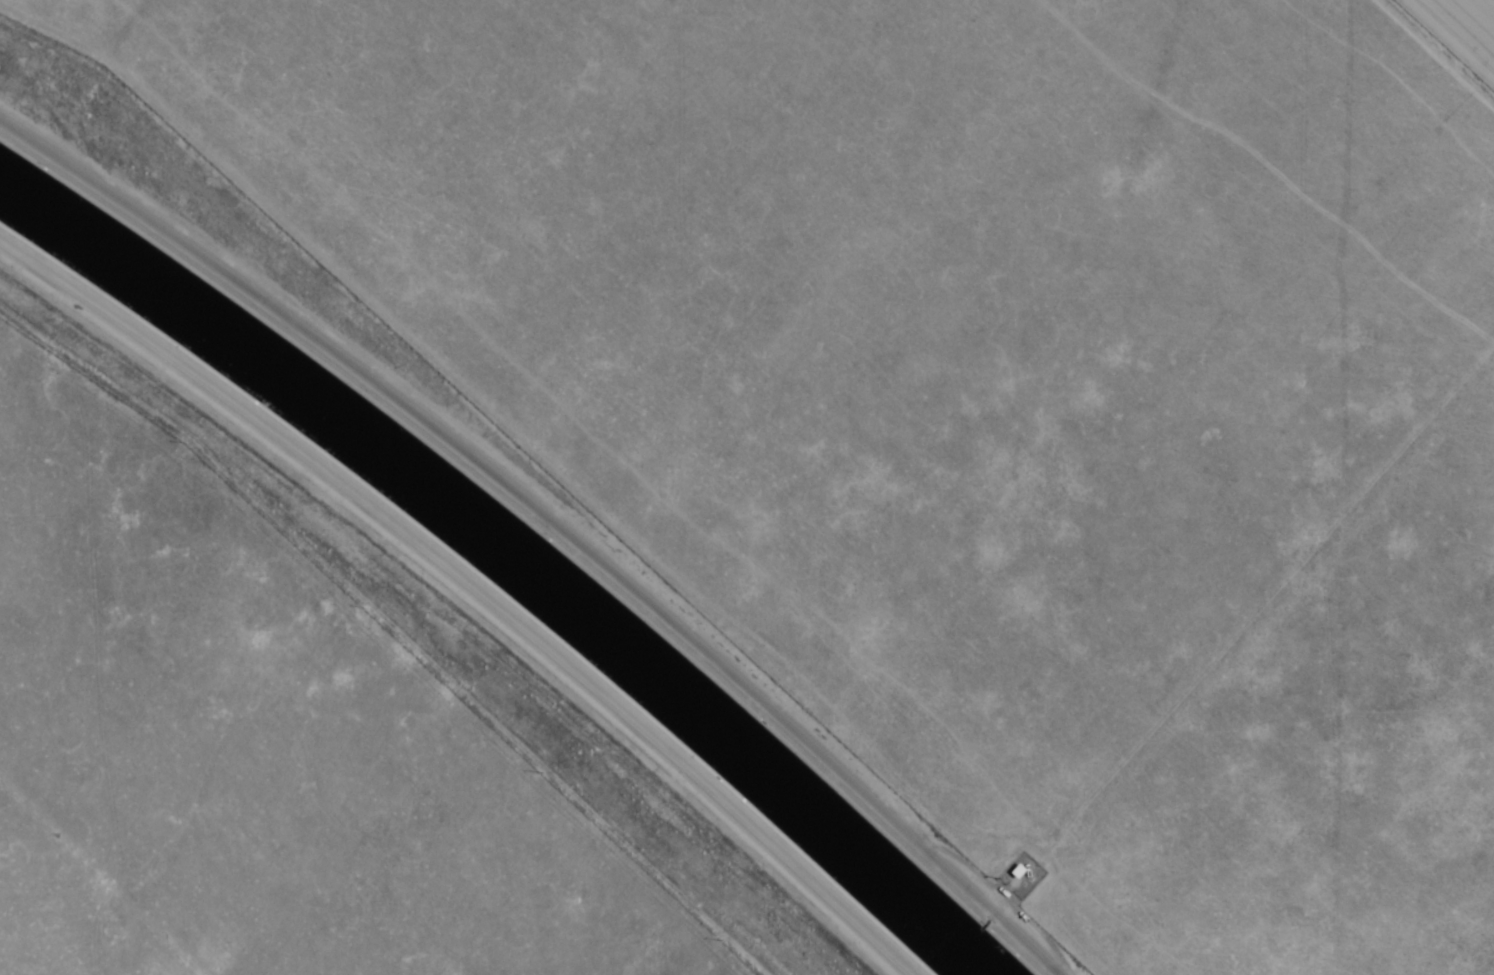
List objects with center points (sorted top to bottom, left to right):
crop: (1488, 3)
road: (411, 355)
road: (555, 515)
road: (472, 588)

